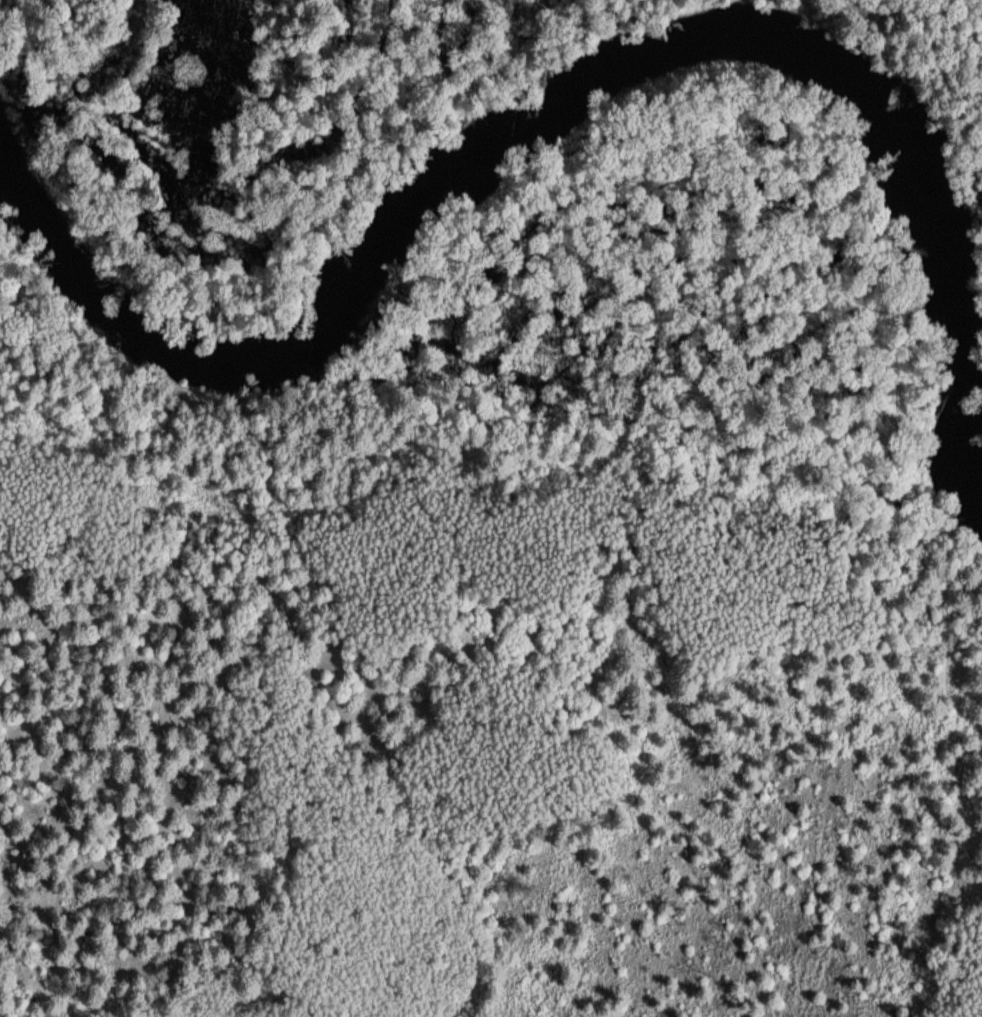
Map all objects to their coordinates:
river: (567, 111)

